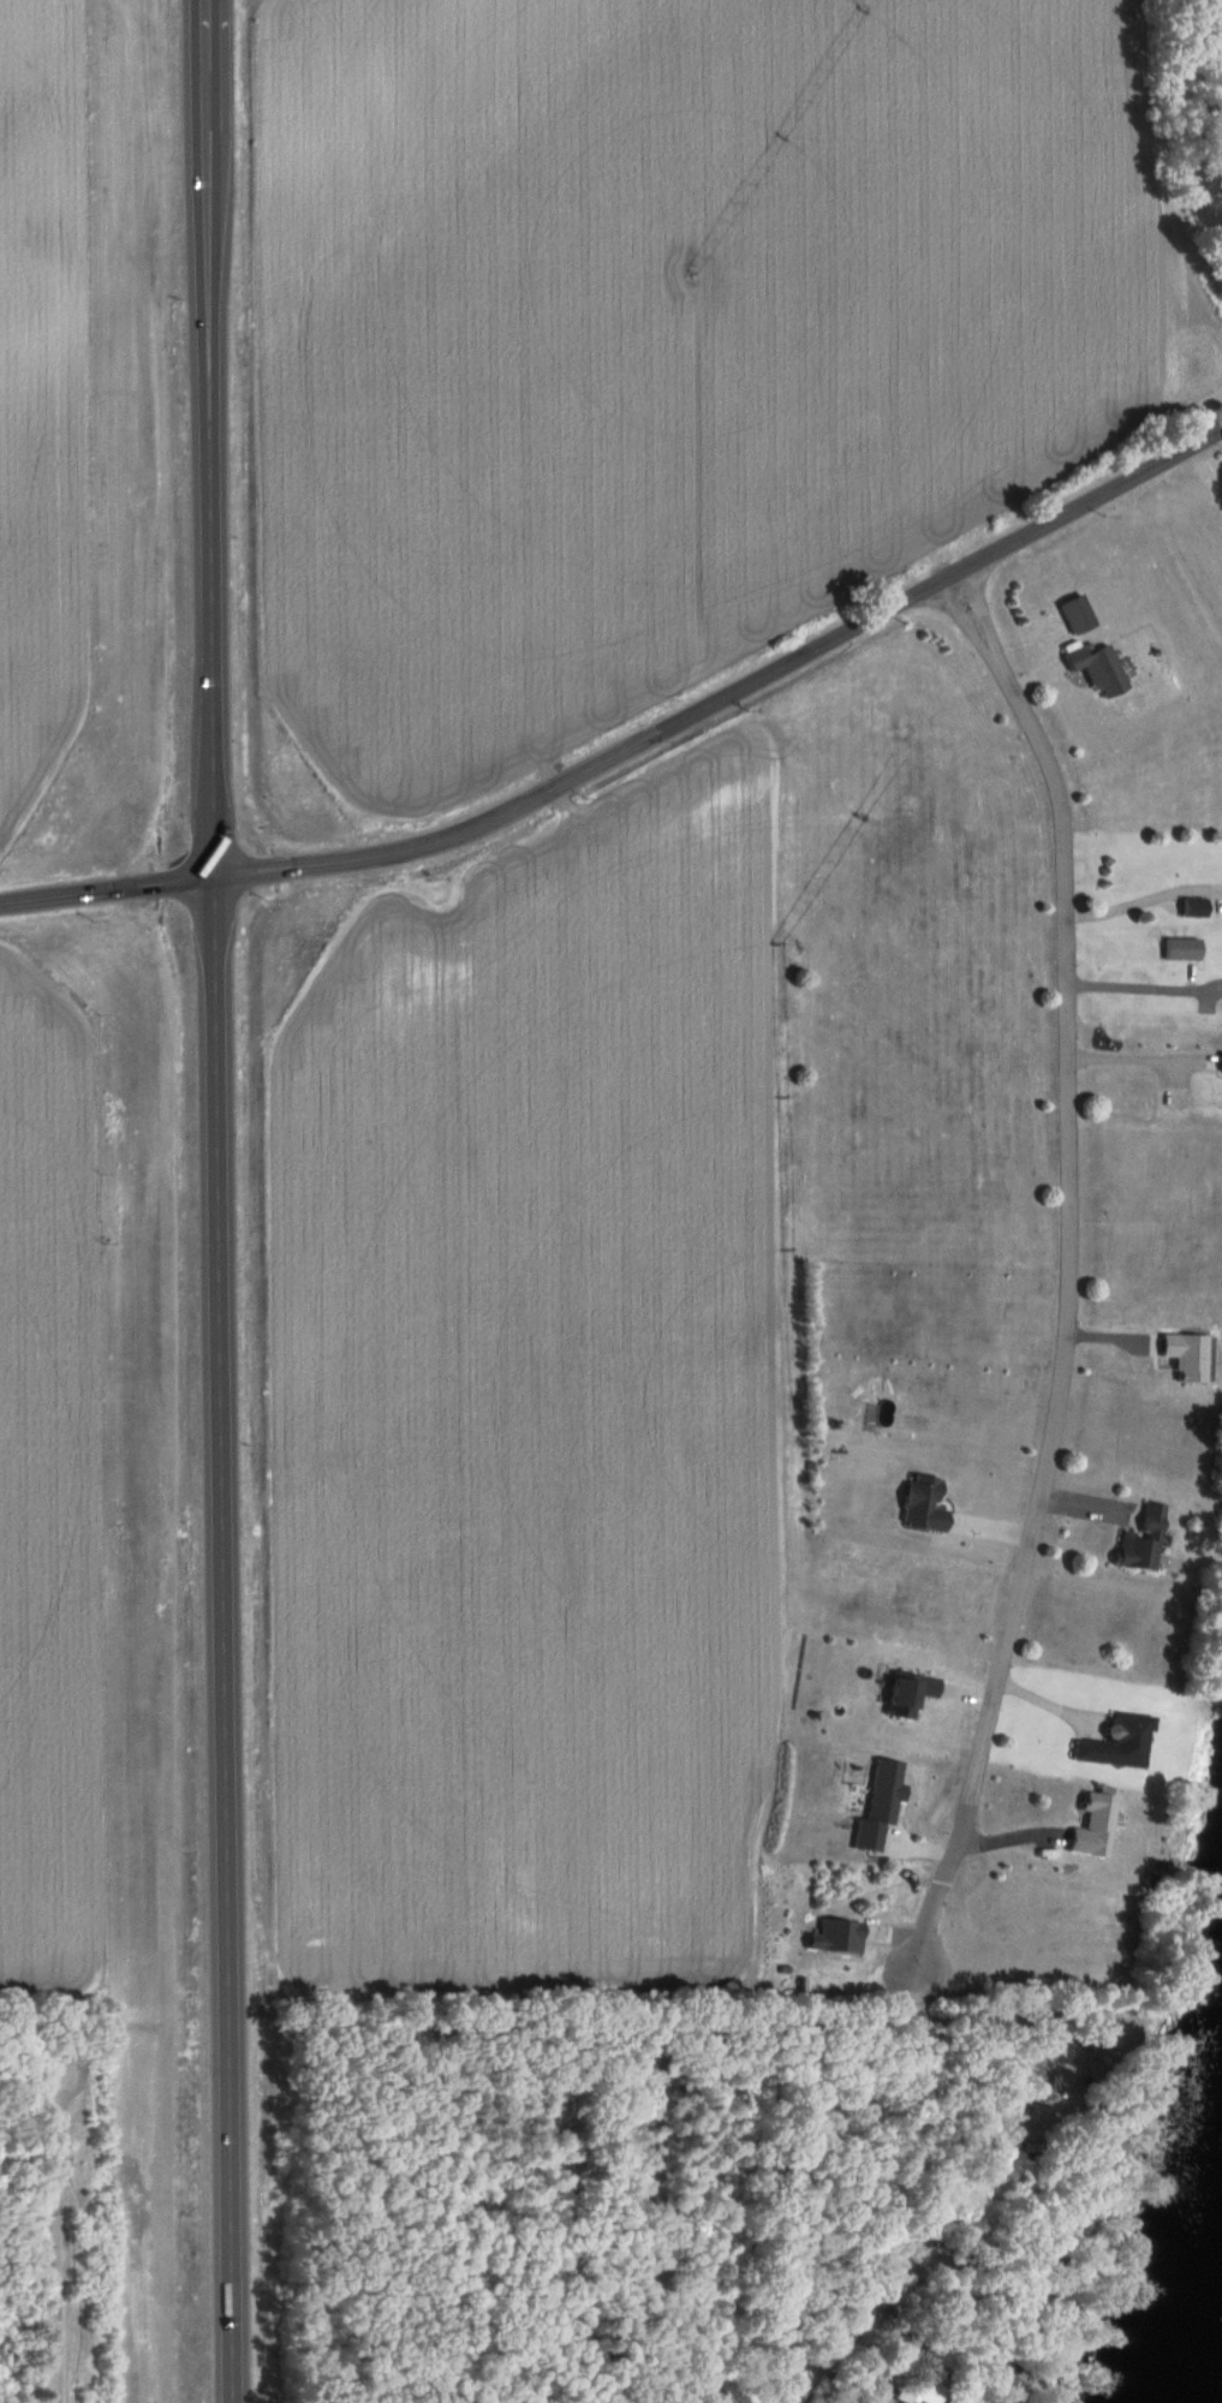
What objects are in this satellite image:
crop: (684, 330)
crop: (50, 404)
road: (845, 638)
building: (1099, 672)
road: (234, 879)
road: (1143, 899)
road: (1144, 986)
road: (1134, 1057)
road: (222, 1200)
road: (1068, 1214)
crop: (544, 1406)
crop: (54, 1497)
building: (924, 1504)
building: (1141, 1540)
building: (910, 1694)
building: (1119, 1742)
building: (1099, 1819)
road: (720, 2035)
road: (59, 2041)
road: (431, 2220)
building: (936, 2250)
river: (1210, 2375)
building: (922, 2389)

